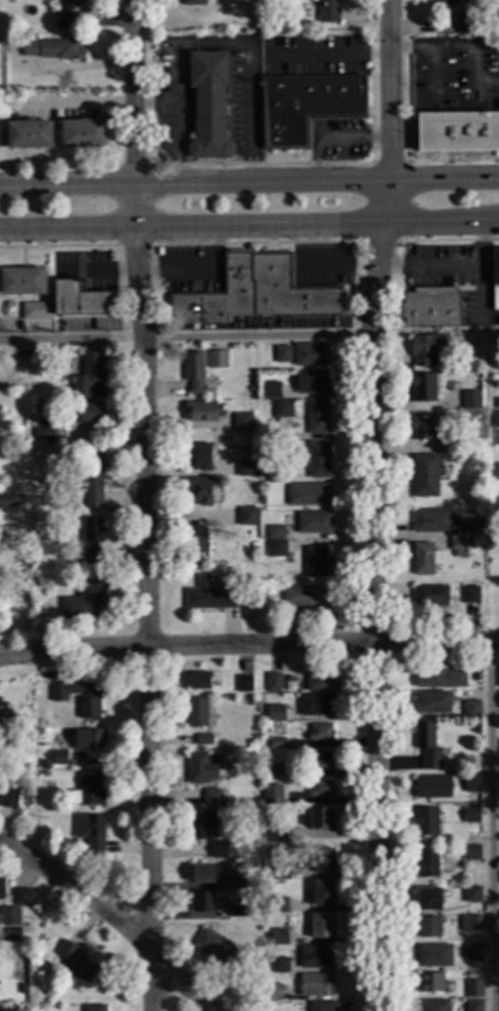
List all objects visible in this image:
building: (450, 1)
building: (193, 3)
building: (328, 11)
building: (67, 13)
building: (465, 28)
road: (214, 47)
road: (460, 49)
building: (53, 50)
parking lot: (492, 65)
road: (434, 79)
parking lot: (420, 82)
parking lot: (455, 82)
road: (133, 90)
road: (478, 94)
building: (209, 104)
road: (157, 106)
building: (307, 106)
building: (459, 132)
building: (84, 133)
building: (30, 134)
road: (316, 178)
road: (66, 181)
road: (316, 225)
road: (67, 228)
road: (429, 265)
building: (495, 267)
road: (482, 277)
building: (22, 282)
building: (256, 293)
building: (79, 300)
building: (9, 306)
building: (431, 308)
building: (36, 311)
building: (495, 312)
road: (481, 331)
road: (185, 337)
building: (427, 349)
building: (282, 355)
building: (311, 355)
building: (21, 356)
building: (37, 356)
building: (217, 360)
building: (194, 374)
building: (88, 376)
building: (311, 383)
building: (423, 388)
building: (271, 391)
building: (471, 400)
building: (283, 410)
building: (200, 412)
building: (86, 414)
building: (317, 418)
building: (495, 420)
building: (242, 423)
building: (46, 428)
building: (424, 428)
building: (445, 446)
building: (198, 457)
building: (318, 460)
building: (246, 469)
building: (496, 471)
building: (275, 474)
building: (425, 476)
building: (93, 479)
building: (200, 491)
building: (308, 495)
building: (81, 499)
building: (261, 501)
building: (10, 502)
road: (373, 504)
building: (237, 505)
building: (248, 517)
building: (430, 521)
building: (314, 523)
building: (471, 528)
building: (275, 533)
building: (92, 540)
building: (196, 546)
building: (460, 546)
building: (277, 550)
building: (424, 559)
building: (317, 563)
building: (36, 583)
road: (145, 595)
building: (470, 595)
building: (210, 596)
building: (430, 596)
building: (29, 597)
building: (307, 597)
building: (85, 601)
road: (249, 643)
building: (498, 676)
building: (440, 679)
building: (199, 681)
building: (319, 681)
building: (273, 683)
building: (243, 685)
building: (80, 697)
building: (433, 703)
building: (316, 705)
building: (471, 709)
building: (197, 713)
building: (275, 714)
building: (40, 724)
building: (320, 733)
building: (203, 740)
building: (87, 741)
building: (16, 742)
building: (276, 744)
building: (427, 746)
building: (59, 759)
building: (321, 761)
building: (45, 766)
building: (200, 770)
building: (275, 771)
building: (45, 776)
building: (471, 784)
building: (432, 788)
building: (321, 789)
building: (88, 792)
building: (8, 795)
building: (216, 799)
building: (277, 799)
building: (471, 815)
building: (320, 819)
building: (426, 822)
road: (491, 825)
building: (198, 826)
building: (92, 834)
building: (280, 835)
building: (218, 851)
building: (273, 852)
building: (472, 854)
building: (323, 861)
building: (426, 864)
building: (280, 872)
building: (215, 878)
building: (2, 890)
building: (323, 895)
building: (472, 895)
building: (21, 898)
building: (428, 900)
building: (202, 903)
building: (278, 906)
building: (235, 912)
building: (10, 917)
road: (112, 918)
building: (471, 924)
building: (322, 927)
building: (428, 928)
building: (279, 938)
building: (473, 952)
building: (218, 953)
building: (434, 956)
building: (316, 958)
building: (78, 966)
building: (279, 966)
building: (430, 983)
building: (316, 986)
building: (474, 989)
building: (273, 993)
building: (433, 1005)
building: (473, 1006)
building: (322, 1007)
building: (94, 1009)

